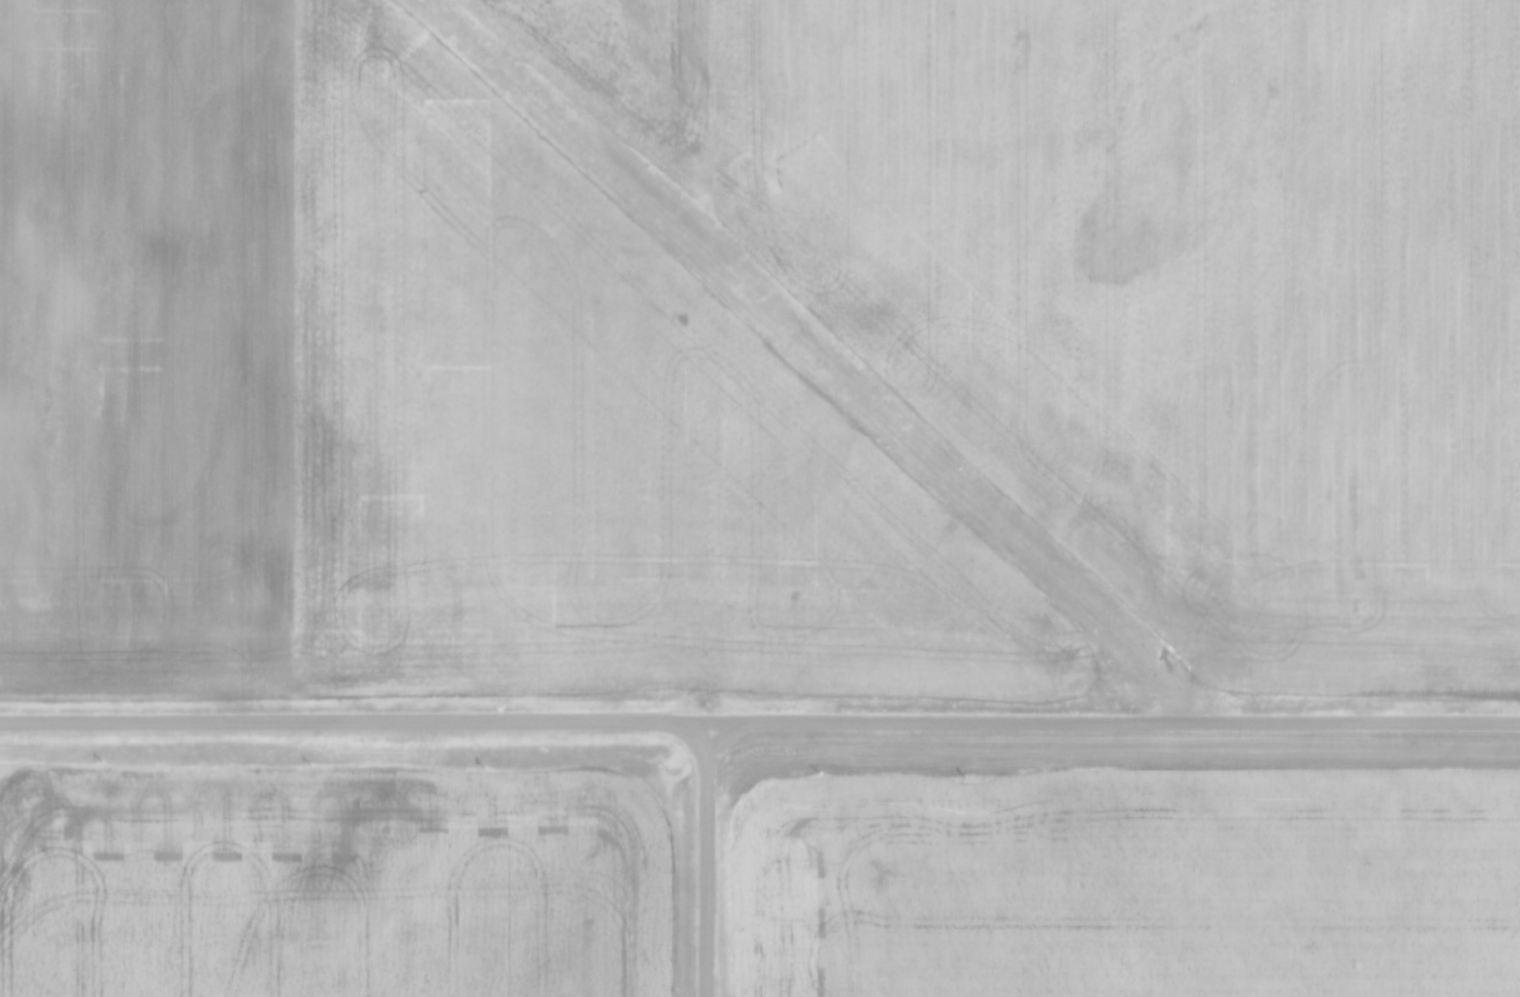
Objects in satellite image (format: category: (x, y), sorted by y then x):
airport runway: (786, 330)
airport taxiway: (1170, 689)
road: (760, 722)
road: (708, 860)

